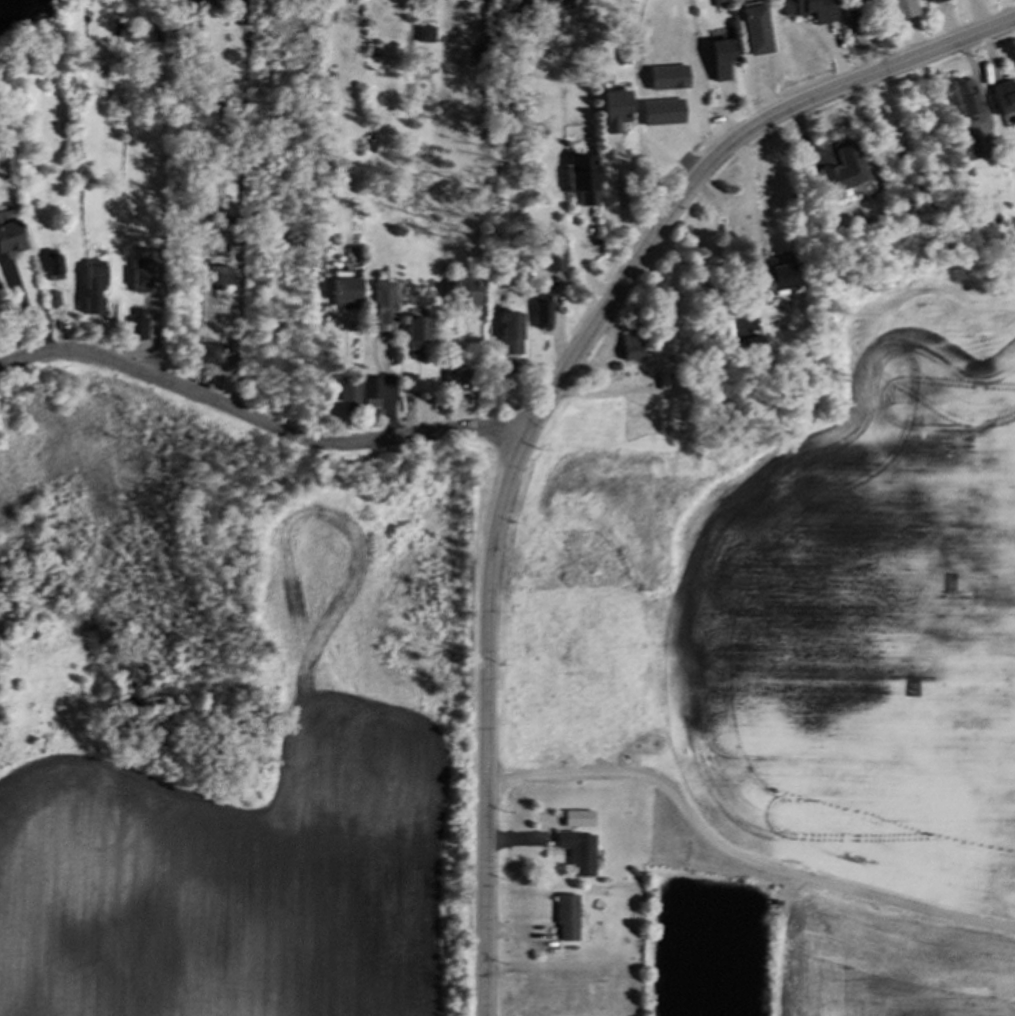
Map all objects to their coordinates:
building: (939, 1)
building: (861, 2)
building: (905, 9)
building: (814, 10)
building: (760, 31)
building: (726, 54)
building: (1005, 97)
building: (965, 99)
building: (620, 111)
building: (847, 172)
building: (591, 187)
road: (749, 192)
road: (618, 197)
building: (12, 240)
building: (557, 260)
building: (58, 270)
building: (781, 274)
building: (100, 283)
building: (351, 291)
building: (470, 291)
building: (388, 304)
building: (545, 311)
building: (421, 335)
building: (514, 335)
building: (634, 348)
road: (336, 384)
building: (351, 390)
building: (374, 392)
road: (546, 399)
road: (261, 425)
crop: (858, 653)
building: (581, 820)
building: (581, 853)
road: (733, 860)
building: (569, 920)

